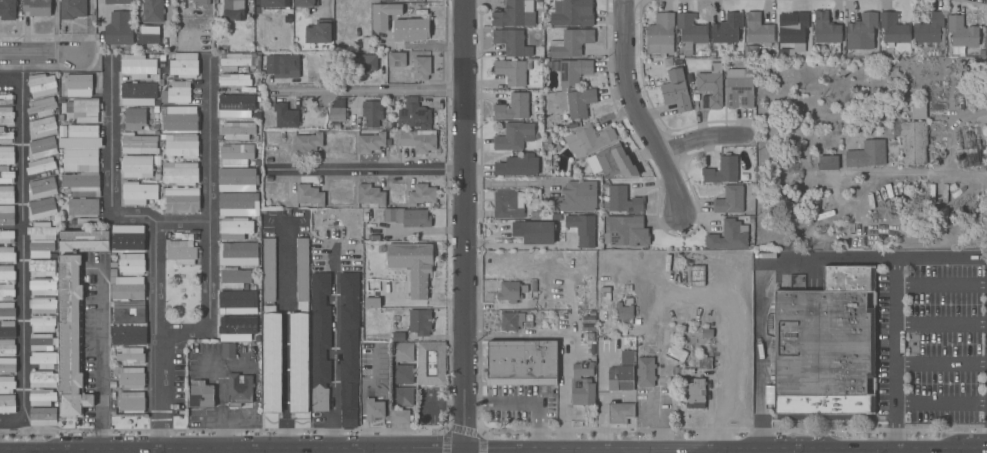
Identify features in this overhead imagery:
building: (256, 0)
building: (381, 1)
building: (119, 2)
building: (202, 2)
building: (274, 3)
building: (306, 3)
building: (539, 4)
road: (324, 5)
building: (37, 7)
building: (73, 9)
building: (8, 10)
building: (153, 10)
building: (234, 10)
road: (170, 12)
building: (572, 13)
building: (384, 14)
building: (515, 14)
road: (101, 15)
building: (986, 19)
building: (727, 28)
building: (119, 29)
building: (411, 29)
building: (794, 29)
building: (894, 29)
building: (758, 30)
building: (827, 31)
building: (318, 32)
building: (690, 32)
building: (861, 32)
building: (930, 33)
building: (962, 33)
building: (148, 34)
building: (661, 34)
building: (986, 37)
building: (510, 41)
building: (571, 42)
building: (751, 51)
building: (700, 54)
building: (712, 54)
road: (38, 55)
building: (397, 59)
building: (678, 63)
building: (269, 64)
building: (362, 64)
building: (184, 65)
building: (138, 66)
building: (421, 68)
building: (243, 70)
building: (511, 71)
building: (570, 71)
building: (662, 78)
building: (689, 78)
road: (10, 80)
building: (235, 80)
building: (162, 83)
building: (42, 85)
building: (711, 86)
building: (739, 87)
building: (238, 90)
building: (250, 90)
road: (362, 91)
building: (677, 91)
building: (177, 93)
building: (138, 94)
building: (83, 97)
building: (696, 98)
building: (6, 100)
building: (580, 102)
building: (42, 106)
building: (236, 106)
building: (514, 107)
building: (918, 109)
building: (156, 110)
building: (165, 110)
building: (338, 110)
road: (633, 111)
building: (372, 112)
building: (414, 114)
building: (6, 115)
building: (285, 116)
building: (134, 119)
building: (181, 119)
building: (335, 126)
building: (384, 126)
building: (392, 126)
building: (42, 127)
building: (156, 127)
building: (347, 127)
building: (237, 130)
building: (62, 131)
building: (157, 132)
building: (5, 136)
building: (514, 136)
road: (698, 139)
building: (419, 140)
building: (588, 140)
building: (912, 140)
building: (372, 142)
building: (308, 143)
building: (139, 144)
building: (181, 145)
building: (42, 147)
building: (236, 154)
building: (867, 154)
building: (7, 155)
building: (157, 160)
building: (610, 162)
building: (828, 162)
building: (257, 163)
building: (41, 165)
building: (518, 165)
building: (137, 166)
building: (82, 168)
building: (267, 170)
building: (277, 170)
building: (722, 170)
road: (368, 171)
building: (181, 173)
road: (941, 173)
building: (6, 175)
building: (158, 177)
building: (237, 180)
road: (112, 185)
building: (42, 188)
building: (162, 191)
building: (138, 192)
building: (422, 194)
building: (6, 195)
building: (310, 195)
building: (371, 195)
building: (576, 197)
building: (623, 200)
building: (730, 200)
building: (181, 201)
building: (237, 204)
building: (508, 204)
building: (42, 209)
building: (7, 215)
building: (544, 215)
building: (365, 217)
building: (407, 217)
building: (84, 221)
road: (211, 223)
building: (370, 226)
road: (464, 226)
building: (235, 228)
building: (583, 229)
building: (41, 230)
building: (534, 231)
building: (625, 232)
building: (178, 235)
building: (7, 236)
building: (729, 236)
building: (128, 238)
building: (374, 238)
building: (84, 240)
road: (516, 246)
building: (41, 248)
building: (182, 252)
building: (238, 254)
building: (7, 255)
road: (872, 258)
road: (21, 259)
building: (113, 264)
building: (132, 264)
building: (413, 266)
building: (40, 267)
building: (269, 269)
building: (113, 272)
building: (697, 272)
building: (7, 274)
building: (235, 278)
building: (849, 278)
building: (697, 283)
road: (941, 285)
building: (42, 286)
building: (128, 288)
building: (524, 289)
building: (605, 289)
building: (509, 291)
building: (7, 292)
building: (534, 293)
building: (605, 298)
building: (628, 301)
building: (237, 303)
building: (372, 303)
building: (43, 305)
building: (529, 306)
building: (7, 310)
building: (129, 312)
building: (625, 312)
building: (592, 313)
building: (510, 320)
building: (589, 320)
road: (731, 320)
building: (637, 321)
building: (420, 322)
building: (42, 323)
building: (529, 324)
road: (941, 326)
building: (239, 327)
building: (589, 328)
building: (7, 329)
road: (896, 331)
road: (155, 333)
road: (285, 333)
building: (300, 333)
building: (707, 334)
building: (128, 335)
building: (589, 336)
building: (70, 337)
building: (399, 337)
building: (40, 341)
building: (320, 341)
building: (593, 342)
road: (336, 346)
building: (589, 346)
building: (7, 347)
building: (349, 347)
building: (364, 347)
building: (112, 349)
building: (228, 350)
road: (759, 352)
building: (676, 353)
building: (131, 355)
building: (823, 355)
building: (592, 356)
road: (99, 358)
building: (45, 360)
building: (272, 360)
building: (522, 362)
building: (394, 363)
building: (431, 363)
building: (705, 363)
road: (941, 363)
building: (7, 365)
building: (584, 368)
building: (646, 372)
building: (622, 373)
building: (131, 377)
building: (43, 379)
building: (7, 384)
building: (239, 390)
building: (583, 391)
building: (201, 394)
building: (695, 394)
building: (402, 396)
building: (42, 397)
road: (601, 397)
road: (522, 398)
road: (566, 401)
building: (132, 402)
building: (7, 403)
road: (941, 404)
road: (220, 405)
building: (374, 408)
building: (620, 413)
building: (43, 416)
building: (399, 416)
road: (895, 425)
road: (257, 445)
road: (374, 445)
traffic signals: (464, 445)
road: (923, 445)
road: (969, 445)
road: (50, 446)
road: (163, 446)
road: (679, 446)
road: (228, 449)
road: (894, 449)

